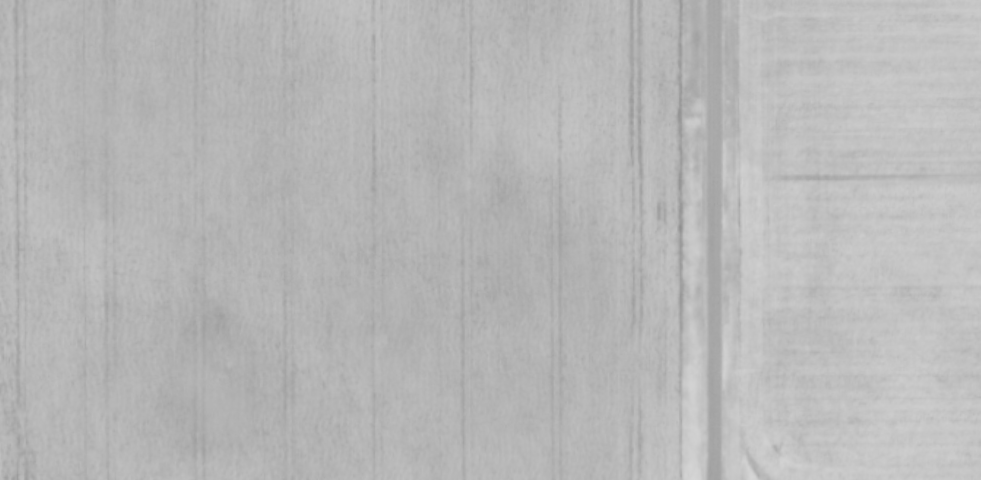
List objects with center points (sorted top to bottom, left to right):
road: (718, 239)

